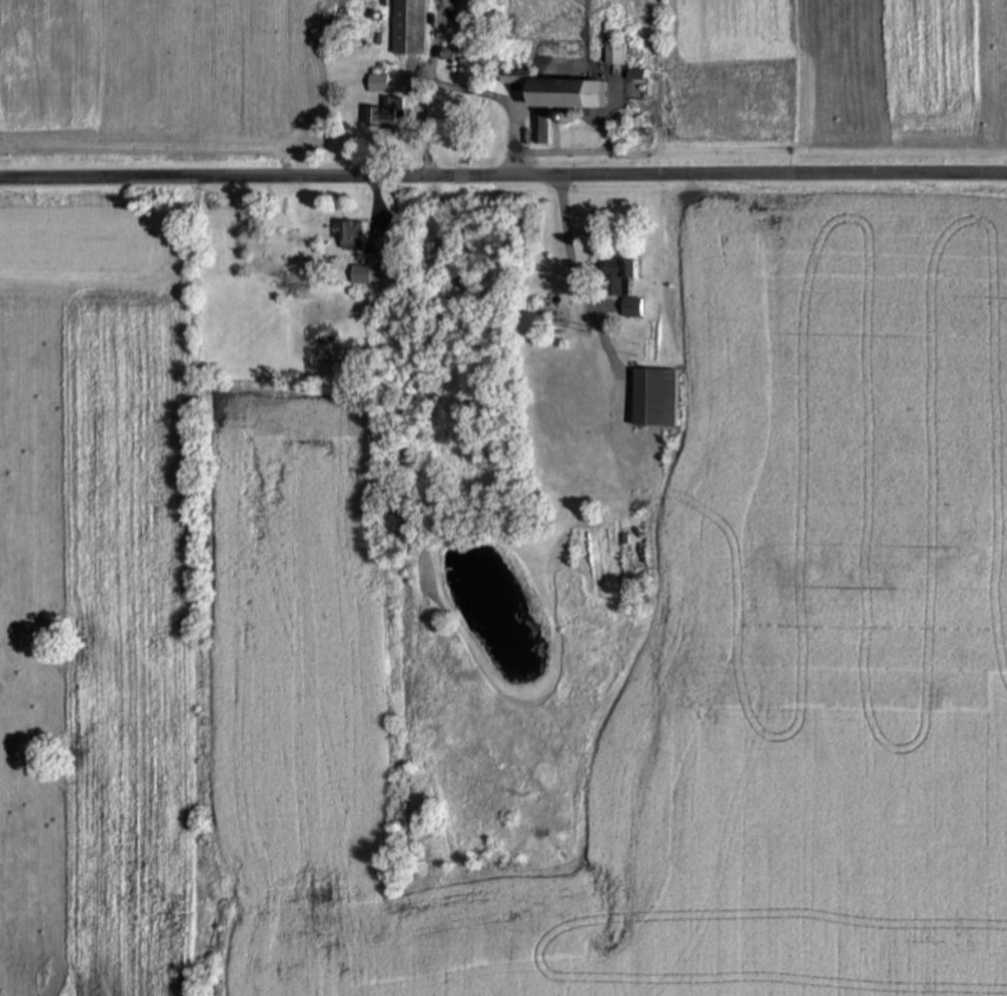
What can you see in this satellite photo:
building: (409, 28)
building: (614, 54)
building: (465, 71)
building: (377, 85)
building: (557, 93)
building: (385, 116)
building: (540, 129)
road: (503, 180)
building: (349, 238)
building: (433, 253)
building: (367, 275)
building: (618, 279)
road: (587, 308)
building: (631, 310)
building: (546, 319)
building: (653, 399)

